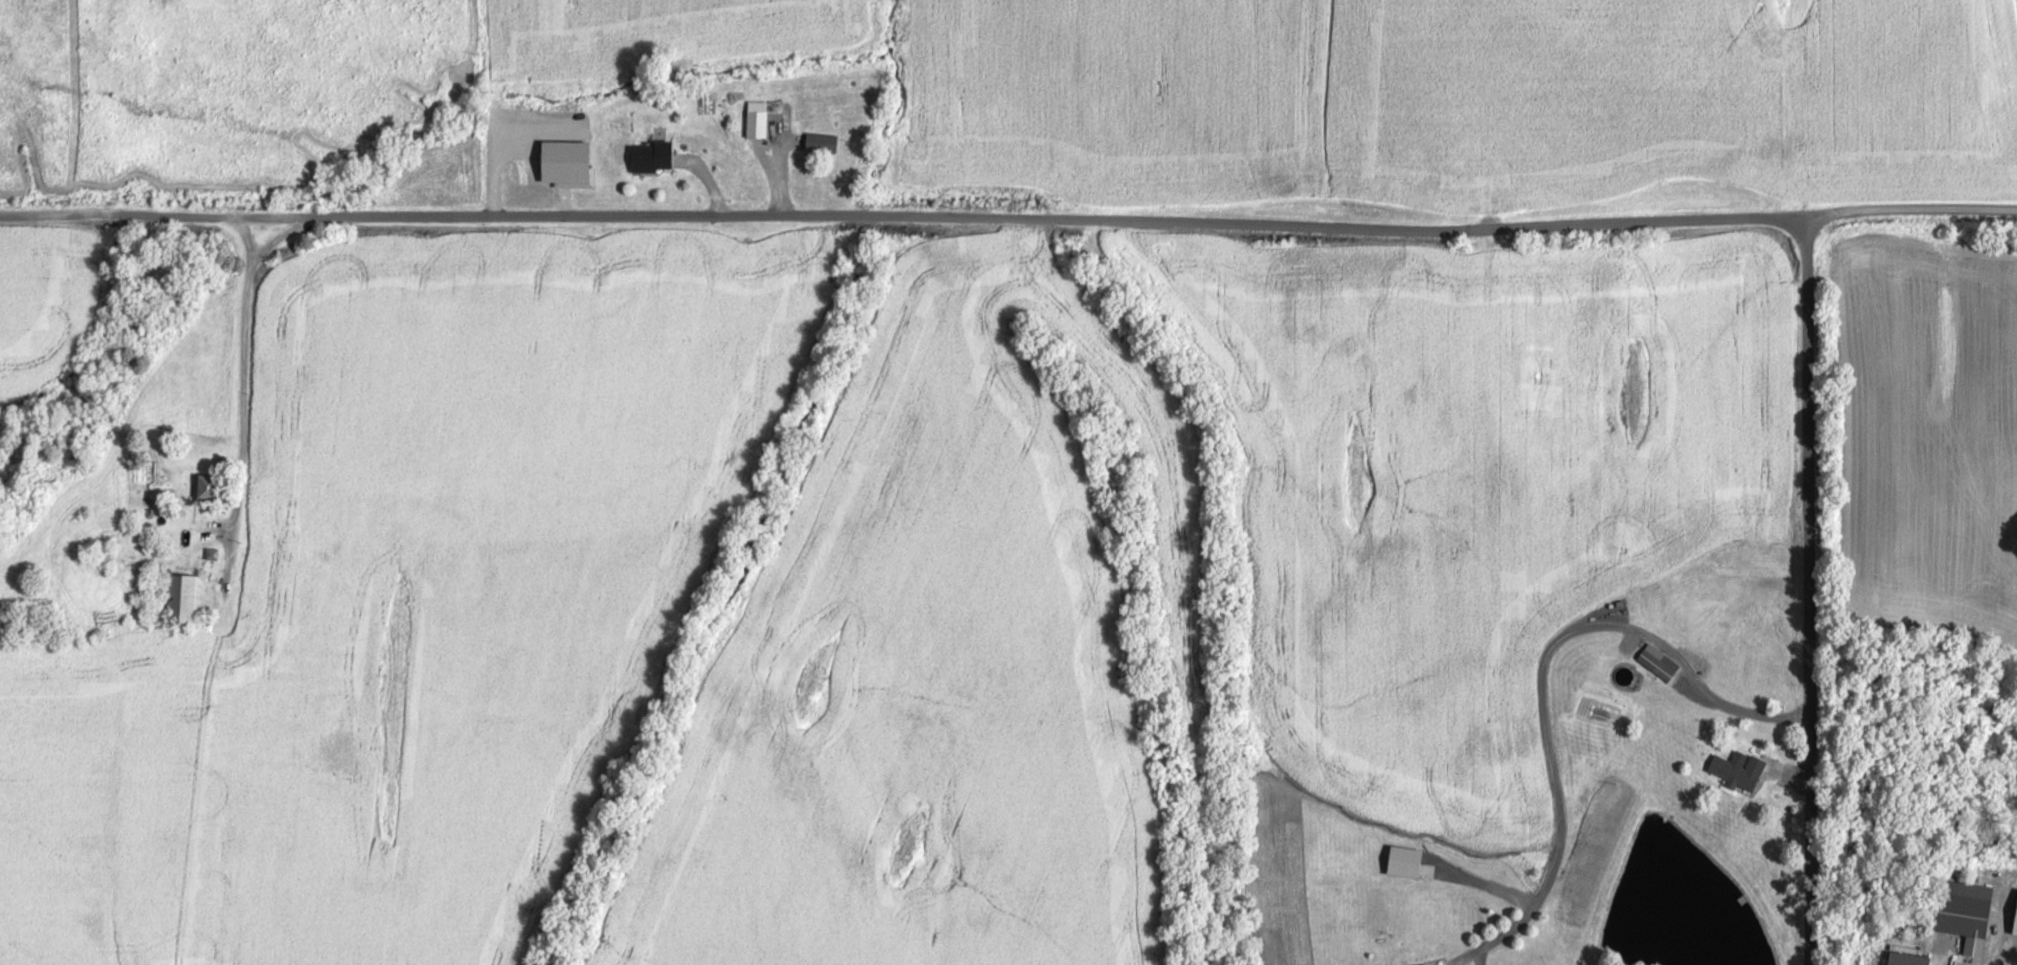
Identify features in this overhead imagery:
building: (760, 121)
building: (820, 143)
building: (649, 157)
building: (1453, 190)
road: (1012, 216)
road: (244, 232)
road: (244, 389)
building: (203, 485)
building: (188, 595)
road: (1808, 596)
building: (1656, 661)
road: (1743, 705)
building: (1736, 771)
building: (1963, 912)
road: (2000, 953)
building: (1904, 958)
building: (1424, 964)

